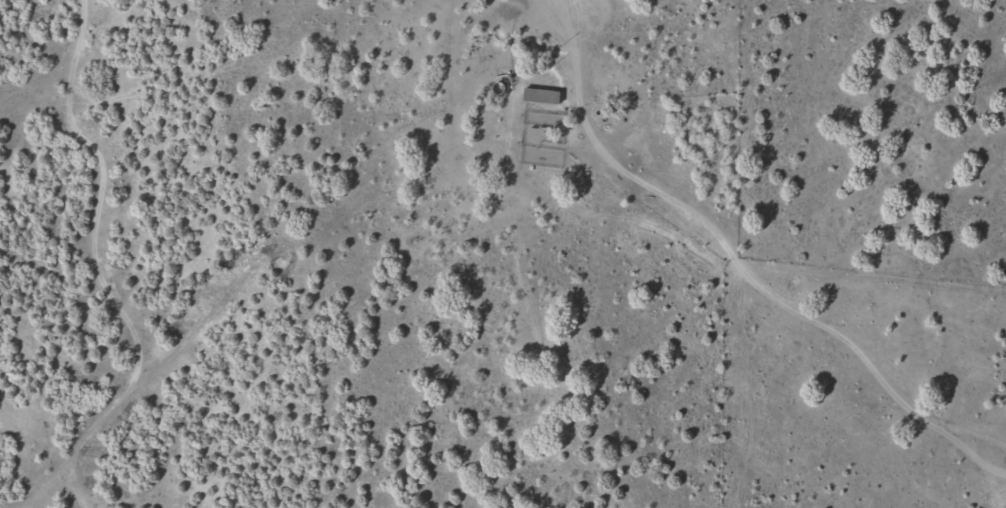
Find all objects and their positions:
building: (544, 94)

